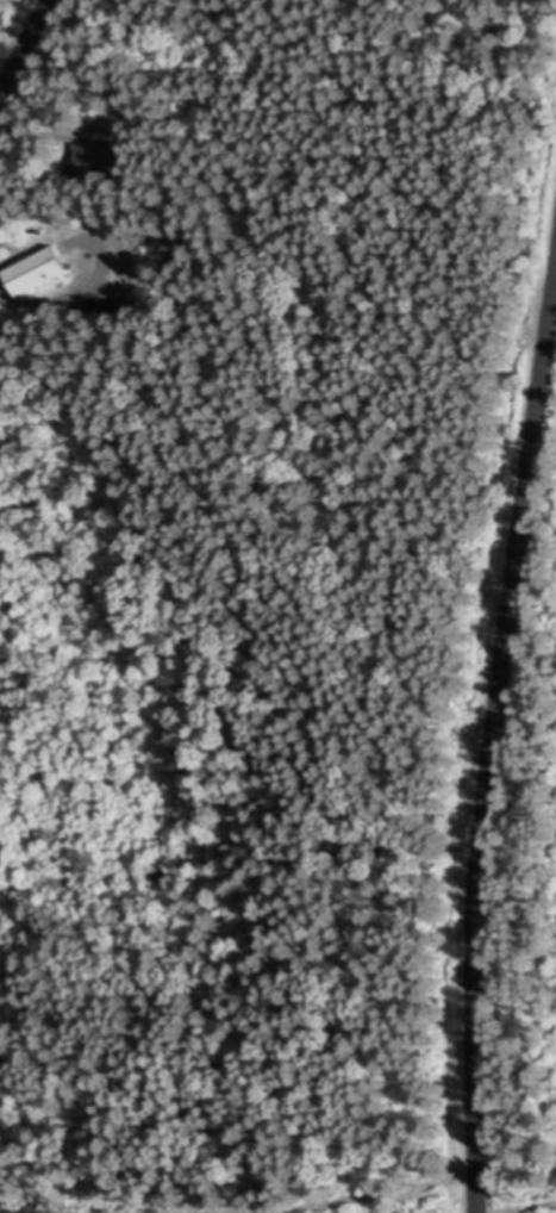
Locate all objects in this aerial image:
road: (25, 43)
road: (49, 131)
building: (104, 162)
building: (40, 270)
road: (493, 739)

